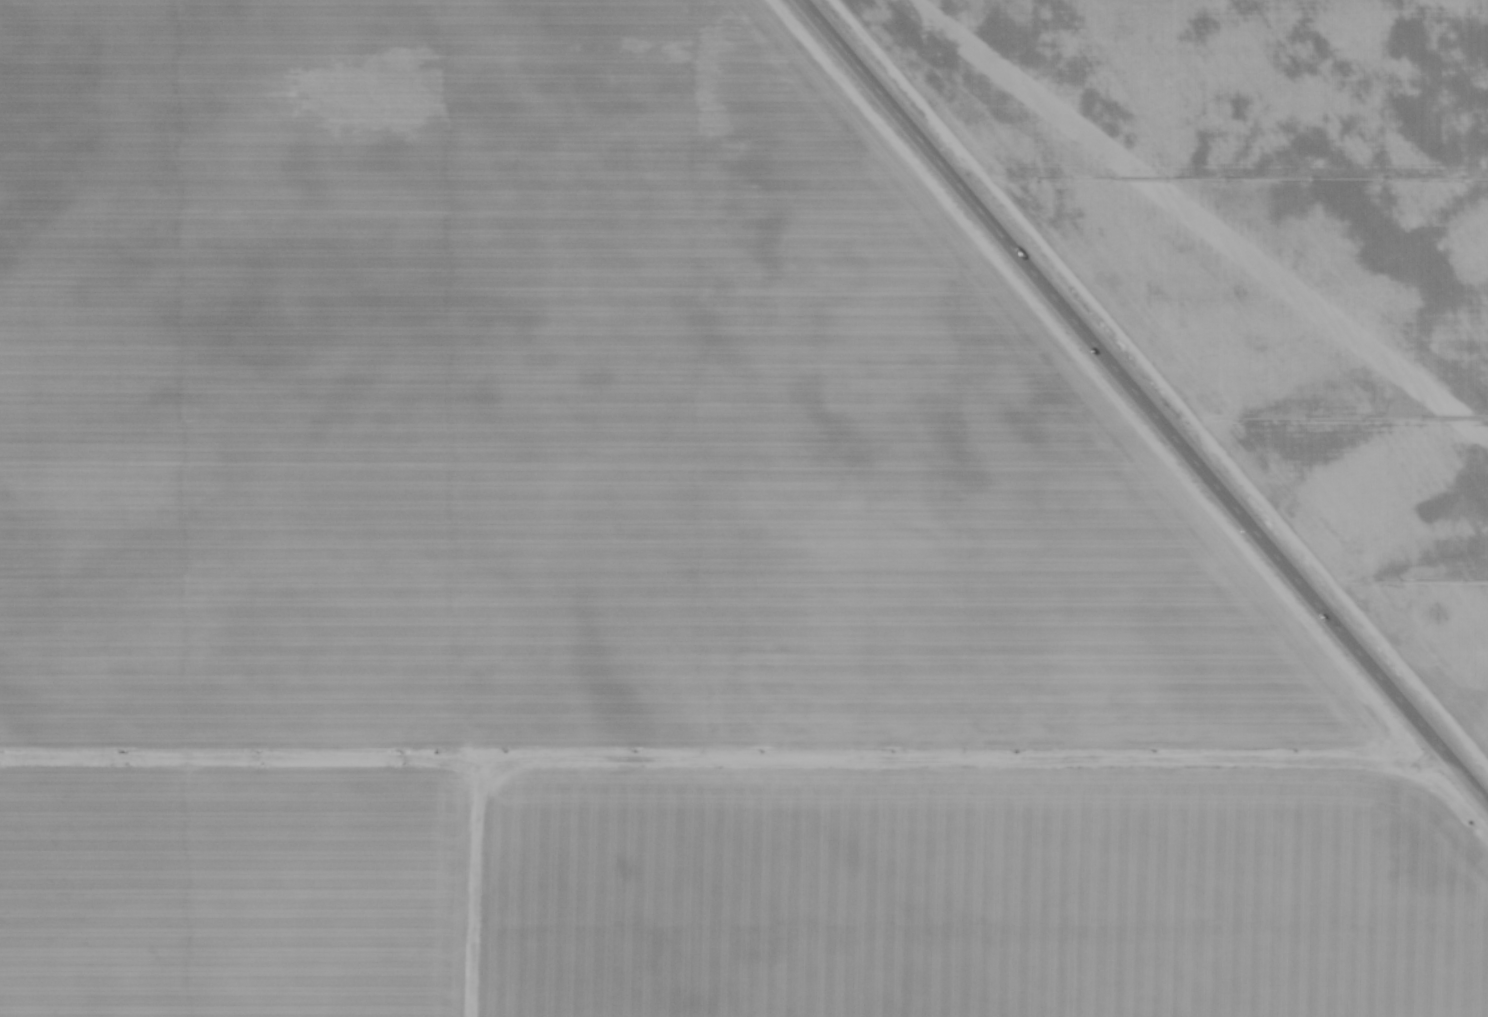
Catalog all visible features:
road: (1145, 400)

